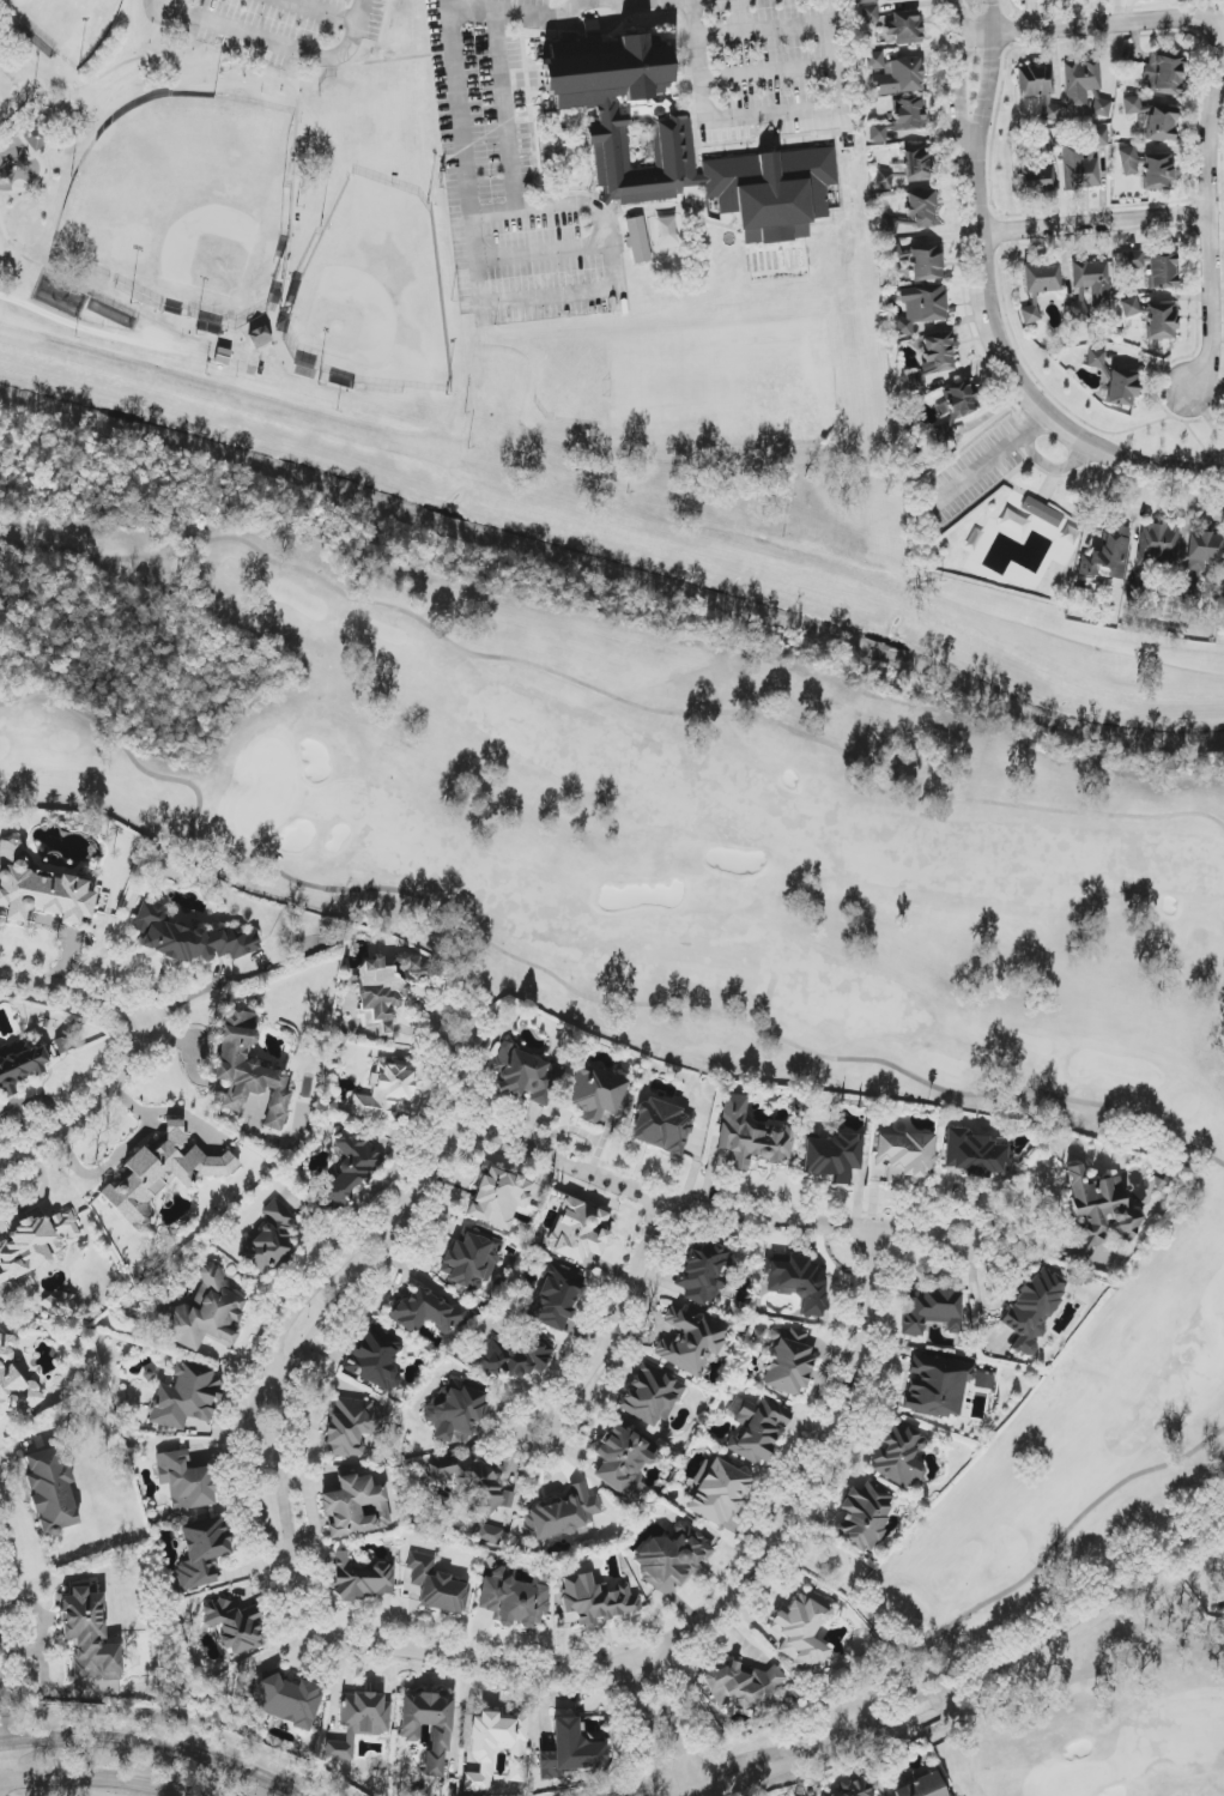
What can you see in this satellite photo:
building: (867, 1)
road: (522, 11)
building: (869, 13)
road: (1211, 25)
building: (905, 28)
road: (1077, 28)
road: (285, 42)
road: (832, 54)
building: (1164, 73)
building: (895, 74)
road: (957, 78)
road: (988, 78)
building: (1035, 81)
building: (1080, 83)
building: (1097, 105)
building: (1050, 114)
road: (714, 119)
building: (1152, 119)
building: (899, 120)
road: (507, 129)
building: (36, 137)
building: (684, 144)
building: (916, 164)
building: (1078, 168)
building: (1149, 169)
road: (285, 180)
building: (1035, 180)
park: (235, 188)
road: (575, 204)
building: (921, 208)
road: (1093, 220)
road: (1210, 230)
building: (637, 241)
road: (528, 253)
building: (1132, 260)
building: (926, 264)
building: (1162, 271)
building: (1041, 278)
building: (1092, 279)
building: (1131, 306)
building: (921, 308)
building: (1030, 313)
building: (1162, 321)
road: (81, 328)
building: (259, 337)
building: (933, 359)
building: (1096, 359)
road: (1019, 381)
building: (1120, 387)
building: (958, 403)
road: (990, 455)
road: (1052, 466)
building: (1042, 512)
building: (1157, 543)
building: (1204, 550)
building: (1108, 556)
building: (1188, 589)
building: (40, 890)
park: (704, 935)
building: (189, 937)
building: (386, 986)
road: (135, 1051)
road: (454, 1057)
building: (20, 1066)
building: (248, 1069)
building: (526, 1076)
building: (384, 1093)
building: (596, 1093)
building: (660, 1126)
building: (751, 1136)
road: (119, 1154)
building: (976, 1154)
building: (832, 1157)
building: (904, 1157)
building: (350, 1168)
building: (162, 1174)
building: (498, 1198)
building: (1097, 1213)
road: (759, 1217)
road: (1014, 1223)
building: (578, 1230)
building: (272, 1239)
building: (471, 1259)
building: (703, 1274)
building: (799, 1282)
building: (556, 1298)
building: (1034, 1308)
building: (931, 1311)
building: (428, 1312)
building: (202, 1313)
building: (690, 1341)
building: (517, 1356)
building: (376, 1359)
building: (787, 1361)
road: (265, 1374)
road: (581, 1375)
road: (291, 1379)
building: (983, 1381)
building: (14, 1383)
building: (937, 1386)
building: (650, 1395)
building: (186, 1397)
building: (455, 1409)
building: (351, 1426)
building: (755, 1428)
road: (26, 1440)
building: (898, 1456)
building: (623, 1461)
building: (186, 1481)
road: (801, 1487)
building: (50, 1490)
building: (475, 1490)
building: (719, 1493)
building: (356, 1507)
building: (561, 1514)
building: (864, 1517)
building: (202, 1552)
building: (672, 1556)
building: (362, 1578)
building: (436, 1585)
building: (513, 1600)
building: (596, 1600)
building: (235, 1626)
building: (802, 1632)
building: (89, 1637)
road: (1019, 1650)
road: (450, 1657)
building: (743, 1687)
building: (285, 1700)
road: (2, 1706)
building: (359, 1722)
building: (429, 1725)
road: (673, 1727)
road: (642, 1732)
road: (150, 1747)
building: (496, 1748)
building: (571, 1749)
road: (716, 1770)
road: (744, 1774)
road: (104, 1778)
building: (923, 1786)
building: (856, 1788)

